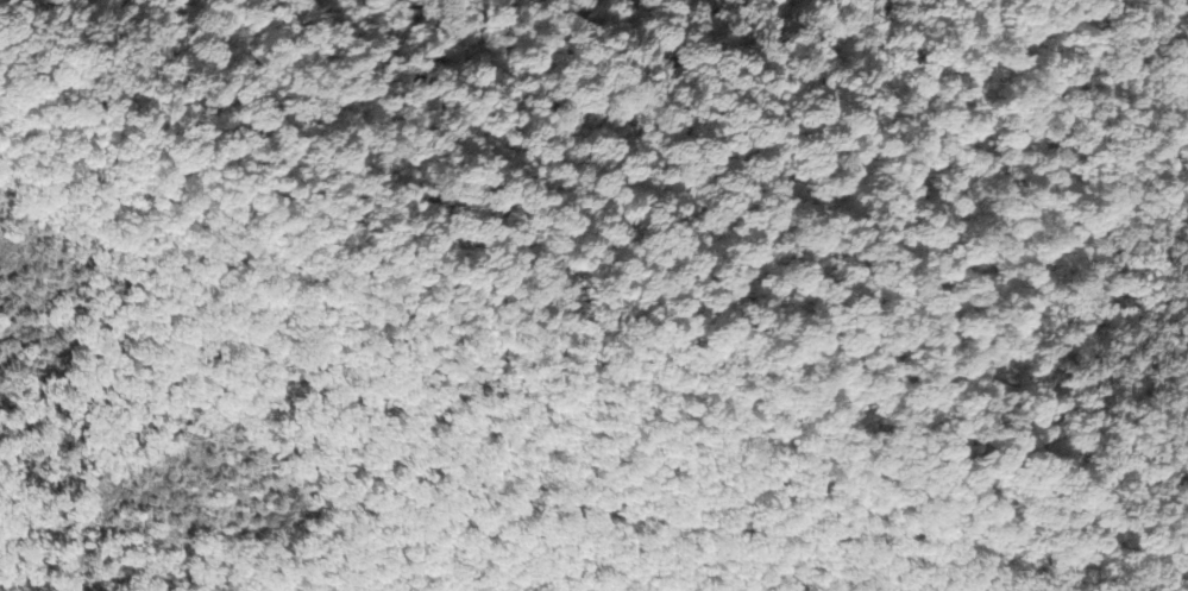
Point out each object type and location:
road: (987, 510)

